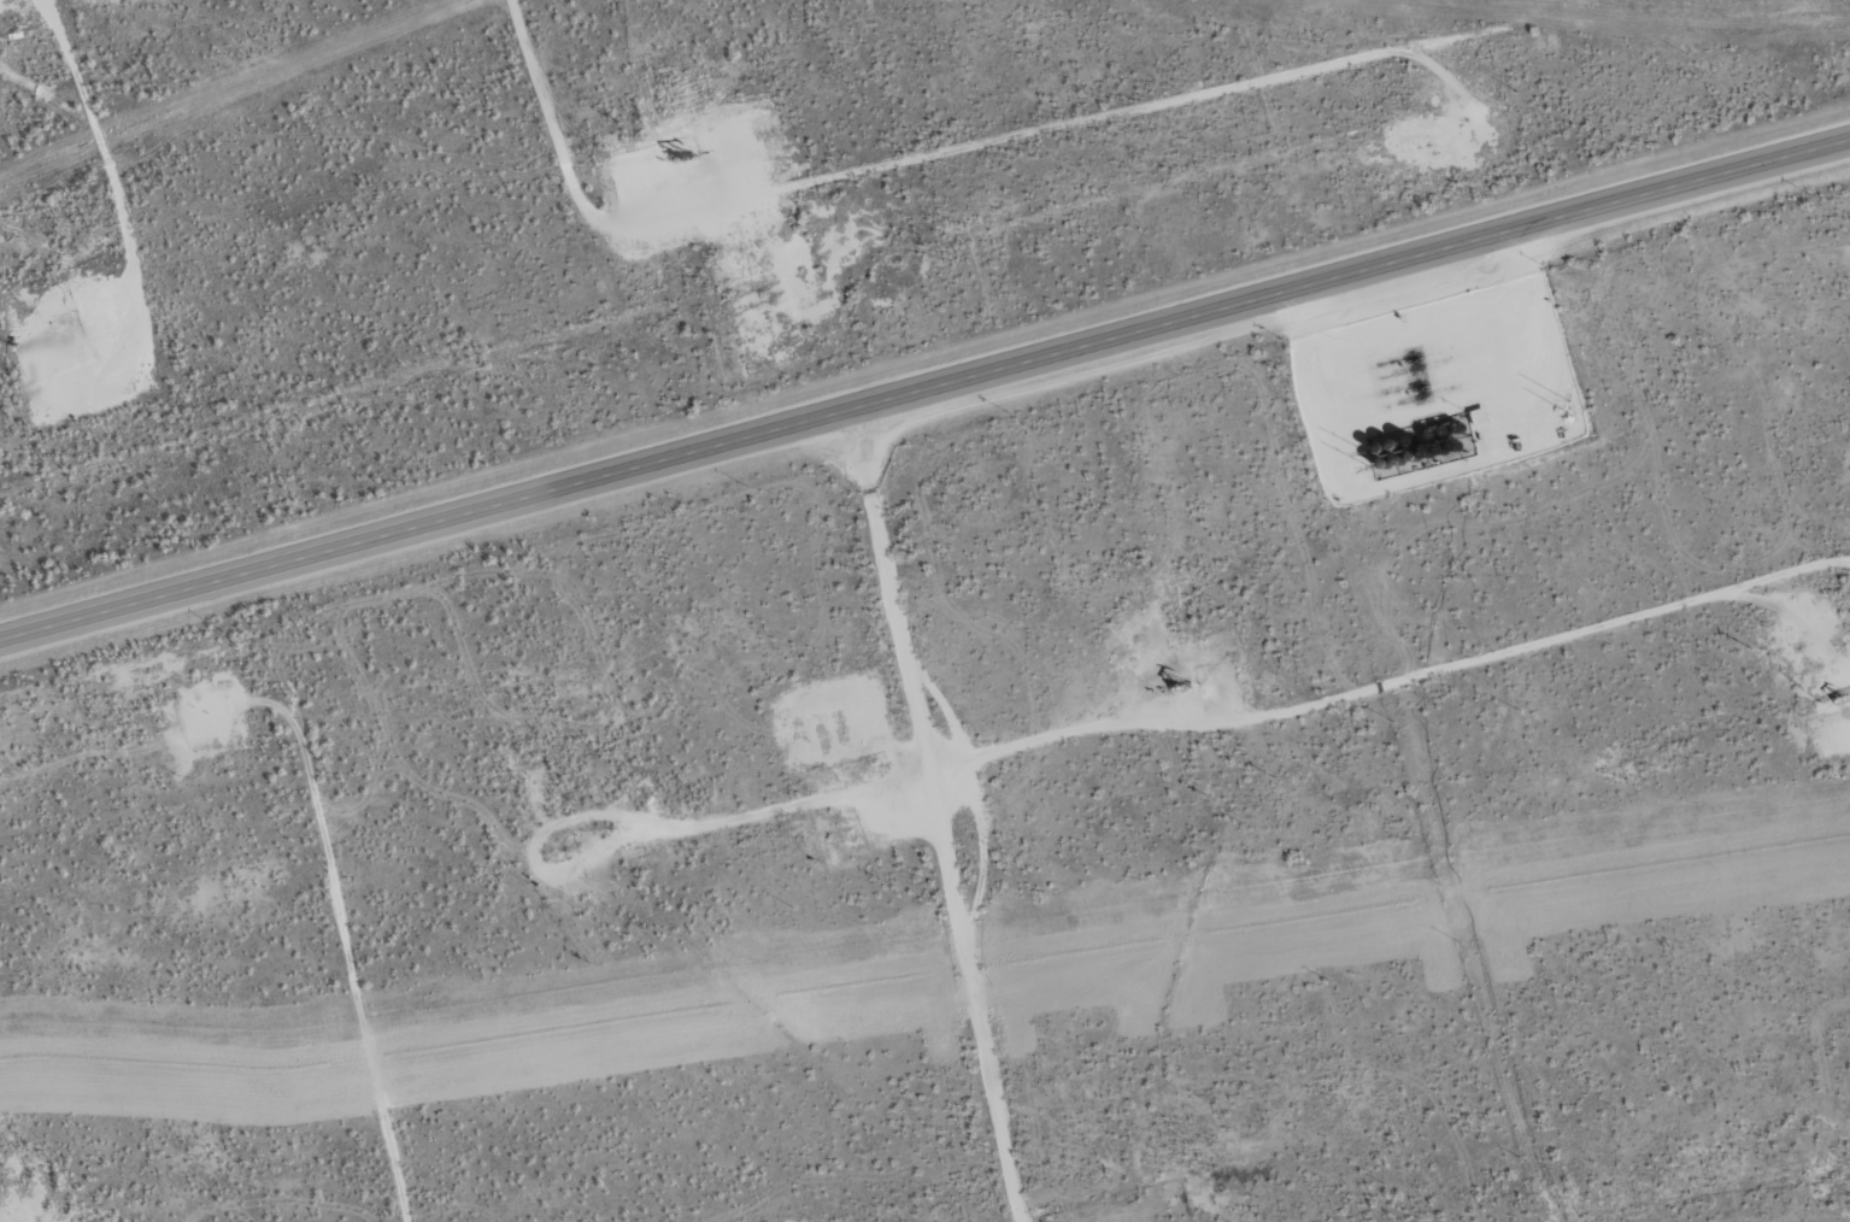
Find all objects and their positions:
road: (1805, 72)
silo: (1438, 372)
road: (924, 390)

